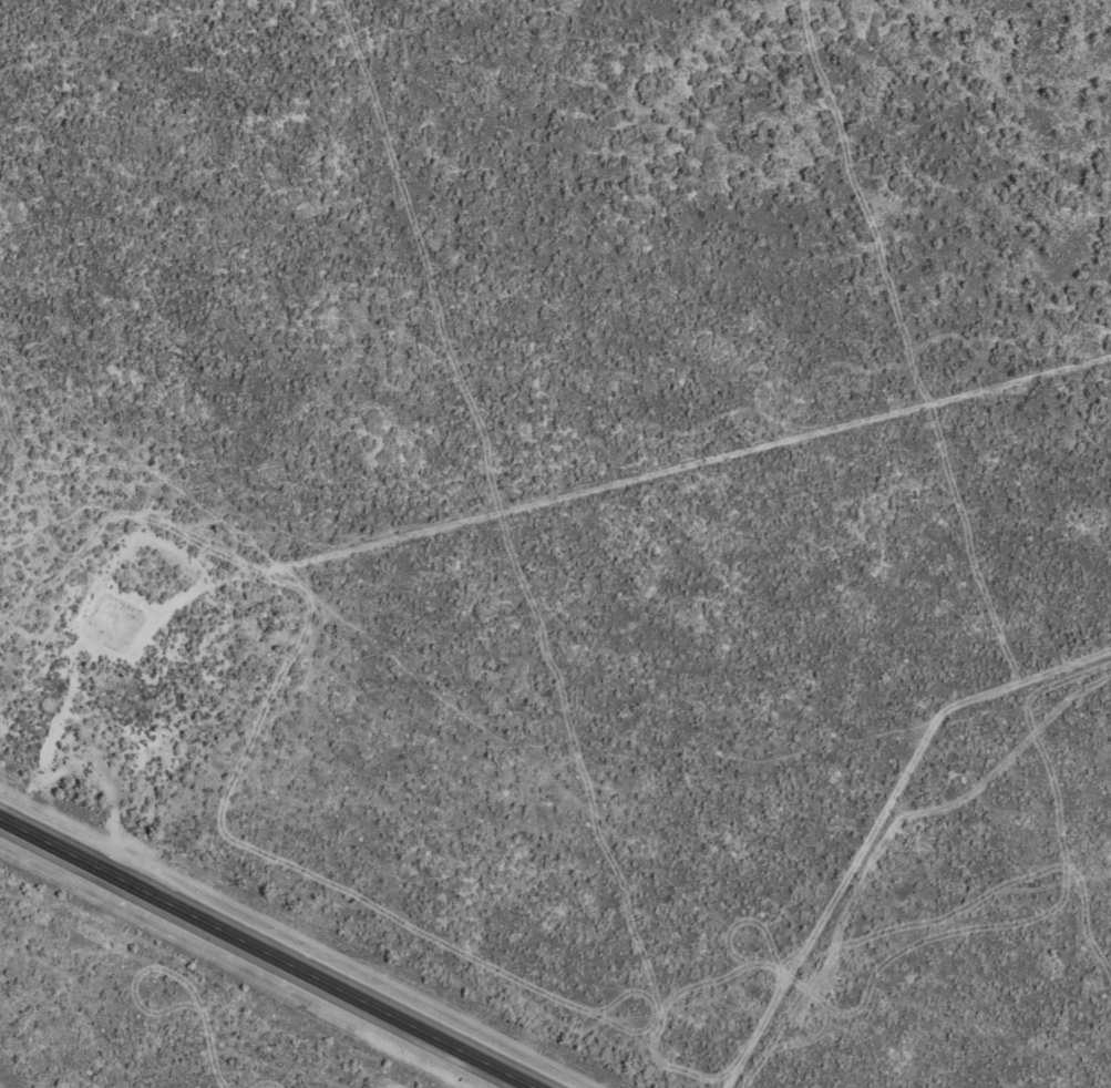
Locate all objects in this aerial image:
road: (504, 524)
road: (260, 952)

